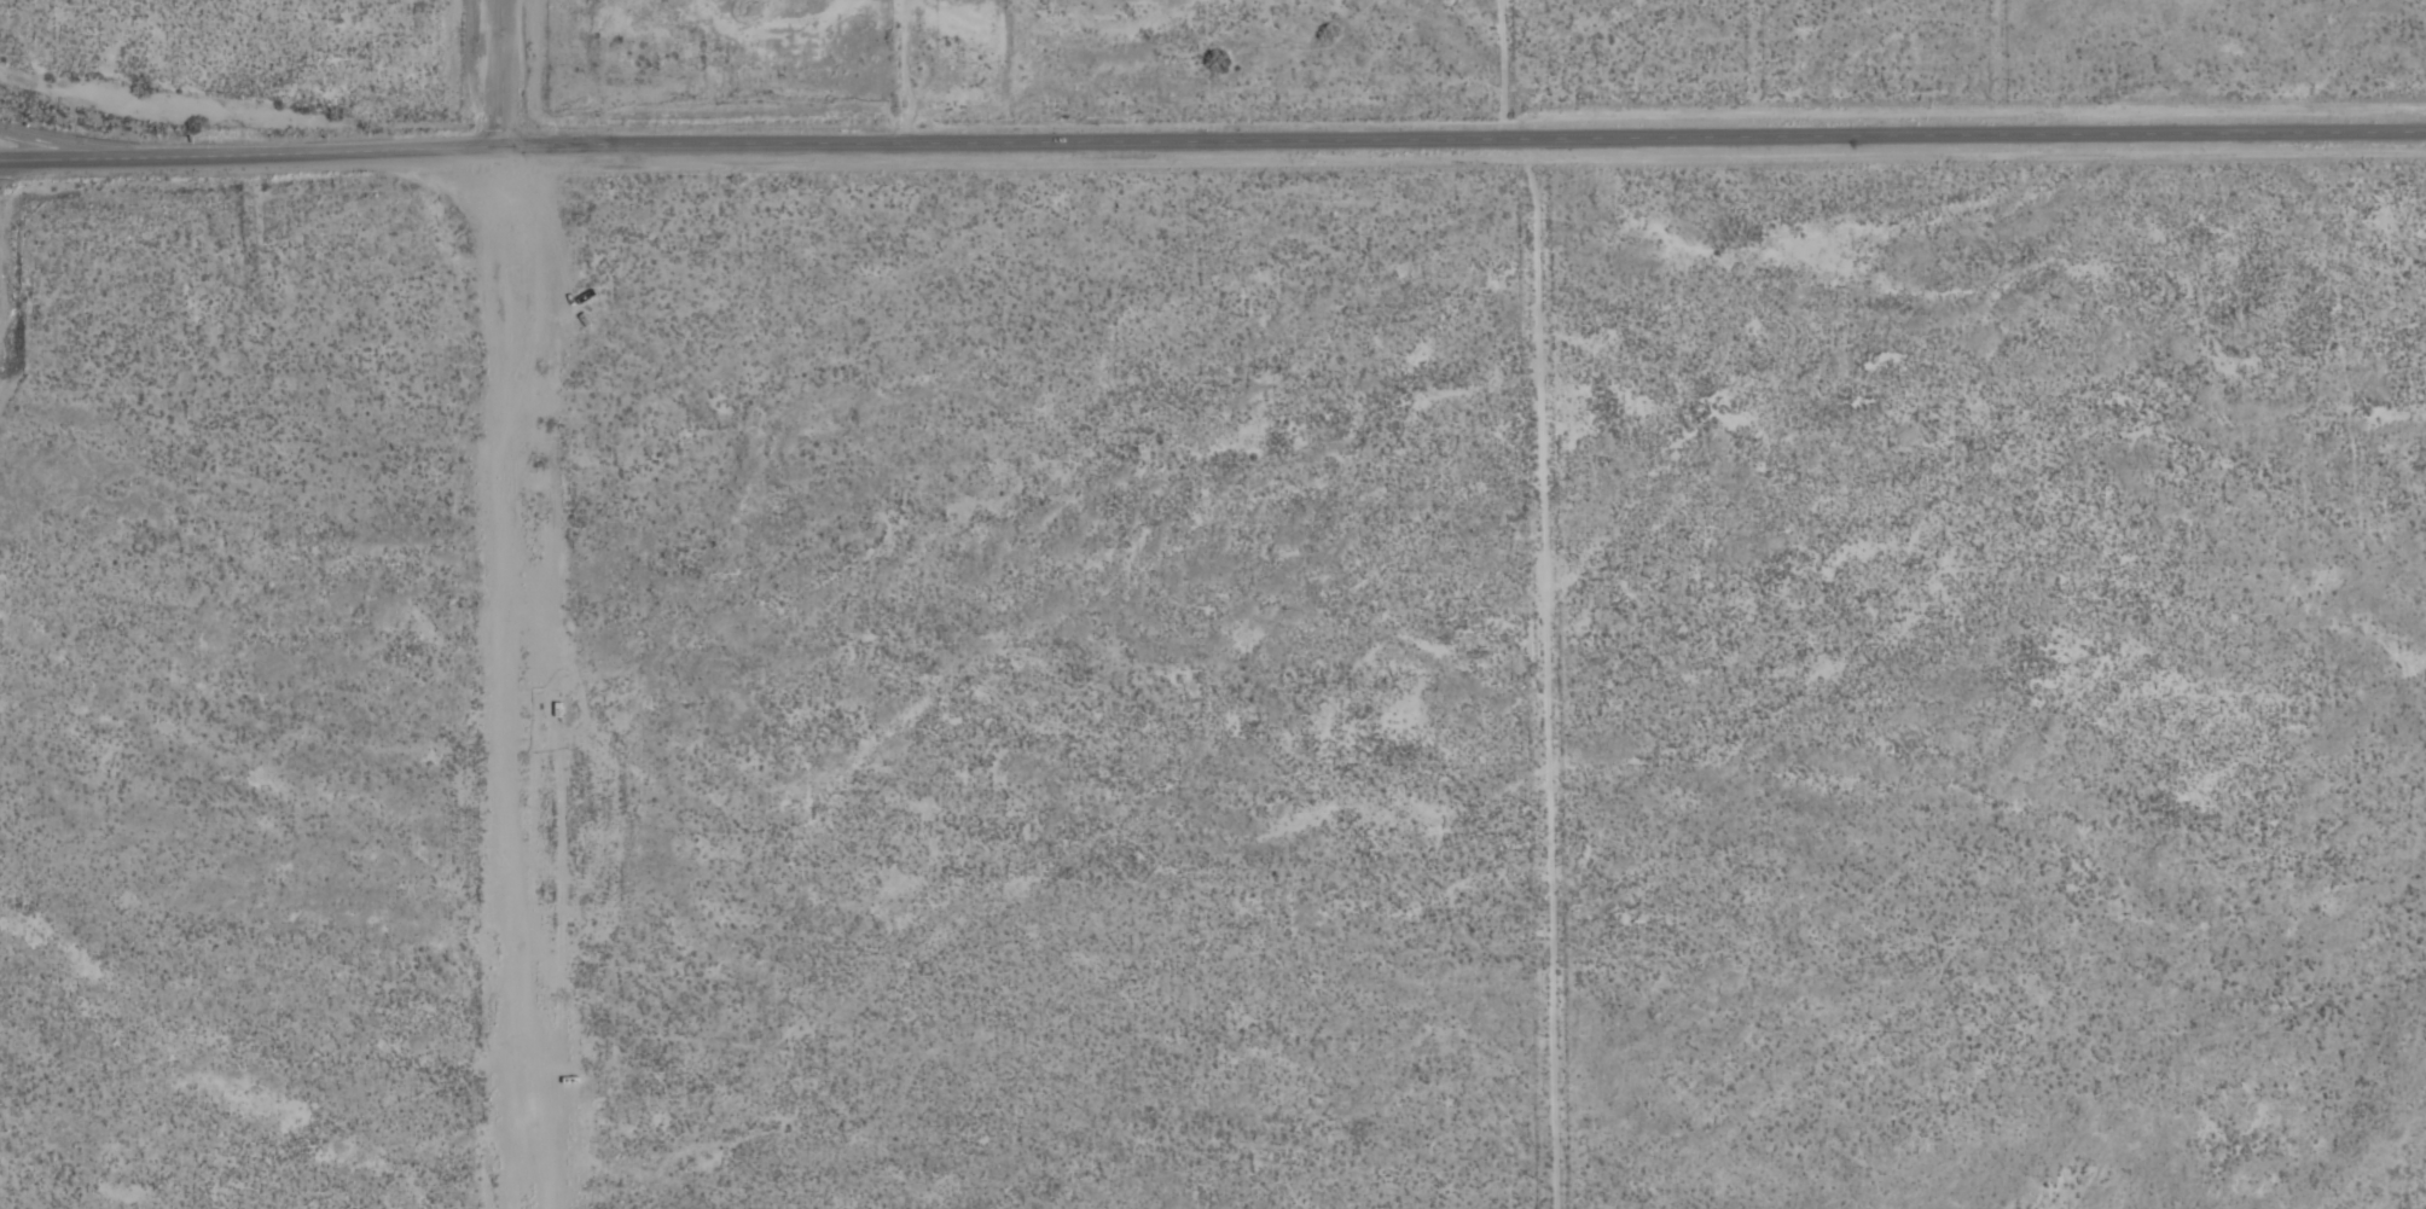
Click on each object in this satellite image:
road: (488, 70)
road: (66, 138)
road: (1457, 146)
road: (244, 149)
road: (504, 674)

